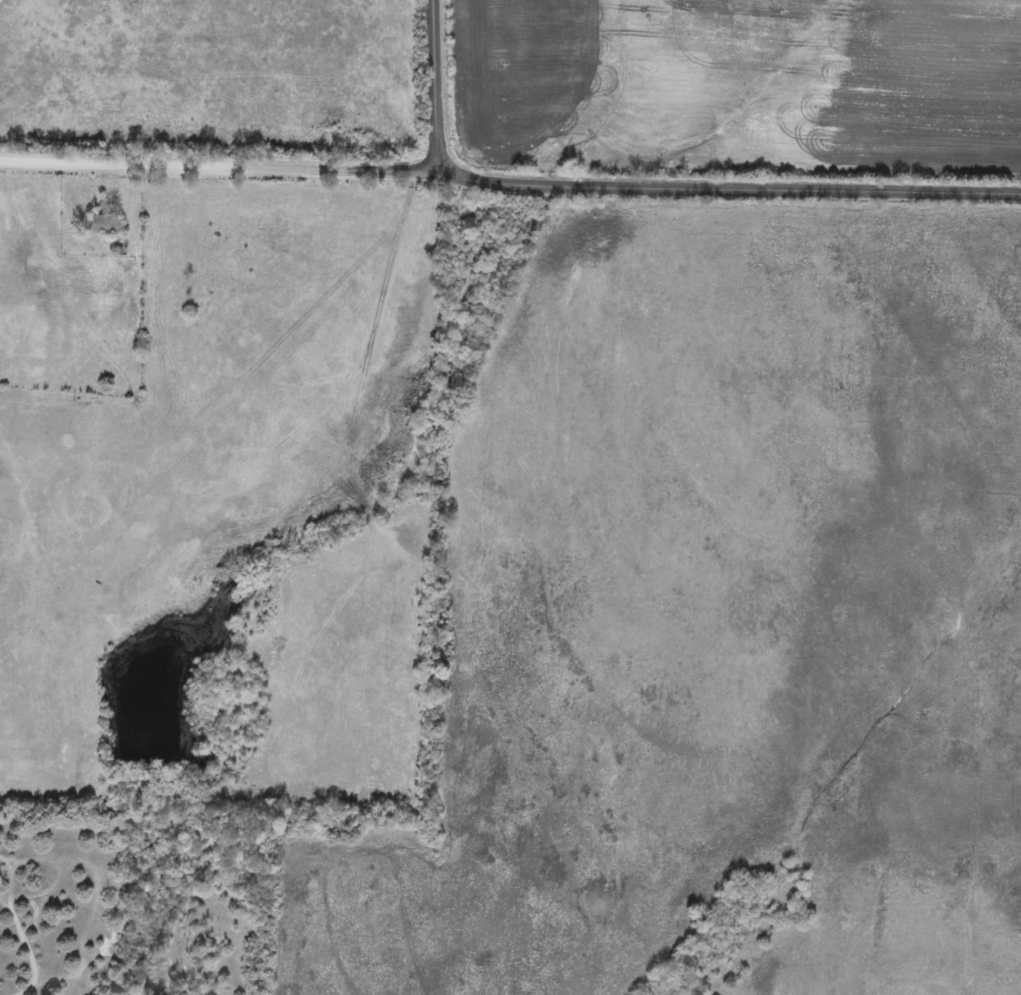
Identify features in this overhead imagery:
road: (432, 79)
road: (509, 173)
building: (100, 226)

